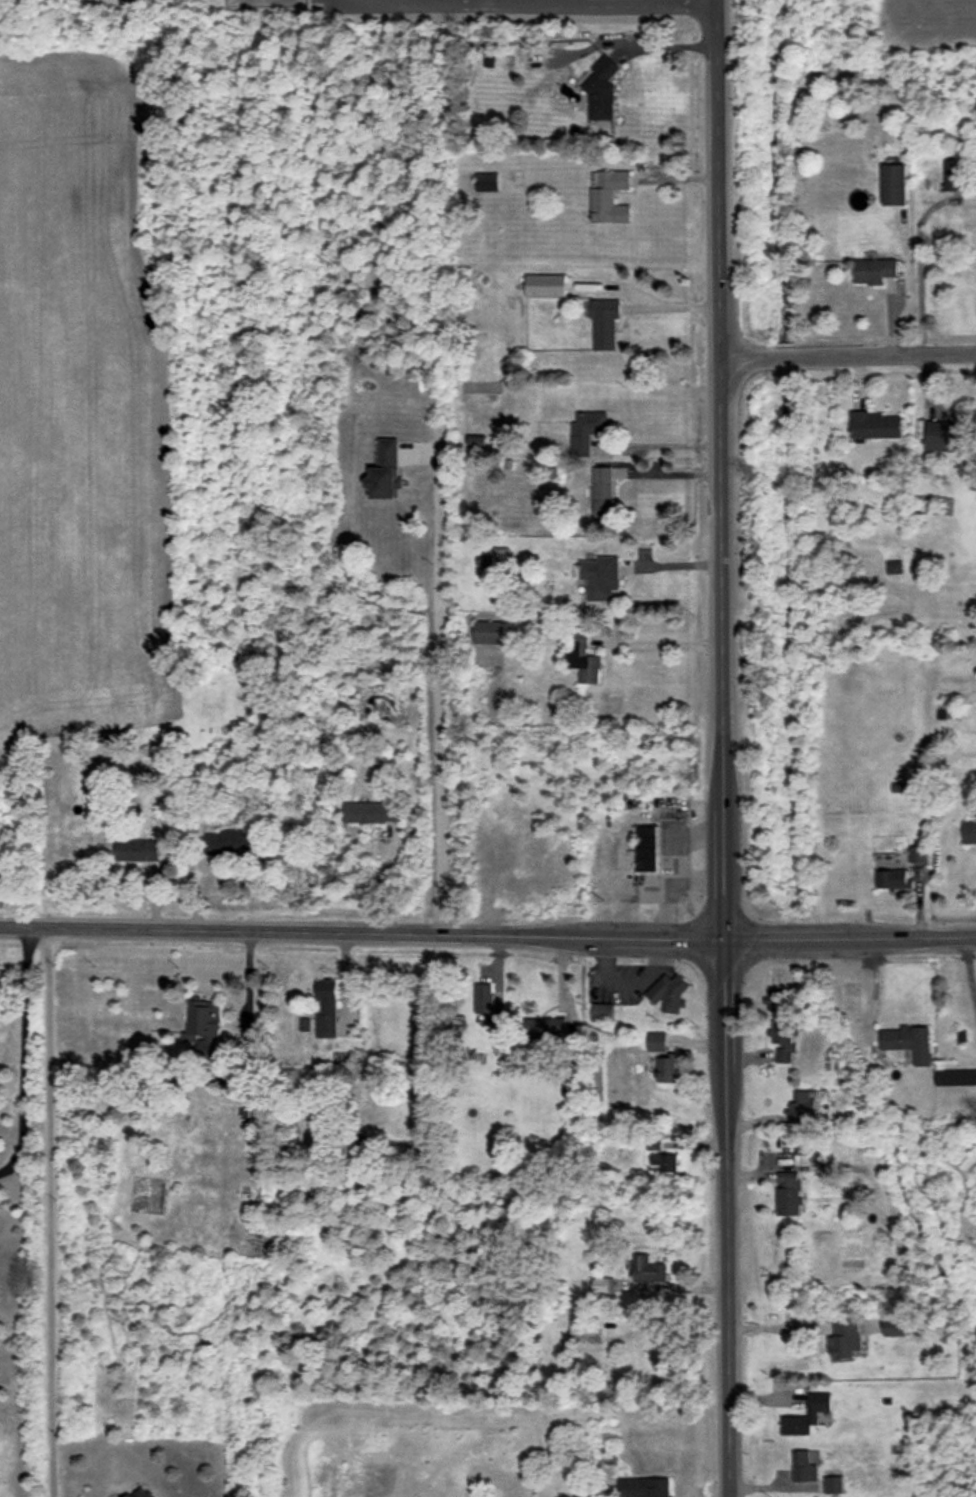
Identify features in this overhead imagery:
road: (516, 1)
road: (583, 1)
road: (420, 5)
building: (601, 89)
building: (954, 175)
building: (486, 181)
building: (894, 185)
building: (609, 196)
building: (874, 270)
road: (919, 280)
building: (545, 286)
road: (649, 312)
building: (604, 323)
road: (847, 356)
building: (876, 425)
building: (586, 430)
building: (947, 436)
road: (665, 445)
building: (386, 471)
building: (603, 492)
building: (894, 567)
building: (599, 577)
building: (489, 632)
road: (659, 649)
building: (582, 658)
road: (440, 692)
road: (721, 748)
building: (372, 812)
building: (969, 831)
building: (229, 842)
building: (647, 848)
building: (138, 850)
building: (917, 854)
road: (685, 865)
building: (893, 880)
road: (633, 890)
road: (669, 915)
road: (488, 934)
road: (968, 971)
road: (246, 985)
road: (627, 985)
building: (669, 992)
building: (777, 1000)
building: (485, 1002)
building: (326, 1009)
building: (602, 1012)
building: (205, 1026)
building: (550, 1029)
building: (783, 1039)
building: (657, 1042)
building: (909, 1042)
road: (22, 1053)
building: (667, 1068)
building: (955, 1077)
building: (800, 1105)
building: (250, 1108)
building: (788, 1194)
road: (48, 1212)
building: (648, 1270)
building: (600, 1285)
building: (895, 1326)
building: (586, 1334)
building: (845, 1339)
building: (813, 1413)
building: (803, 1467)
building: (833, 1485)
building: (643, 1487)
building: (141, 1492)

